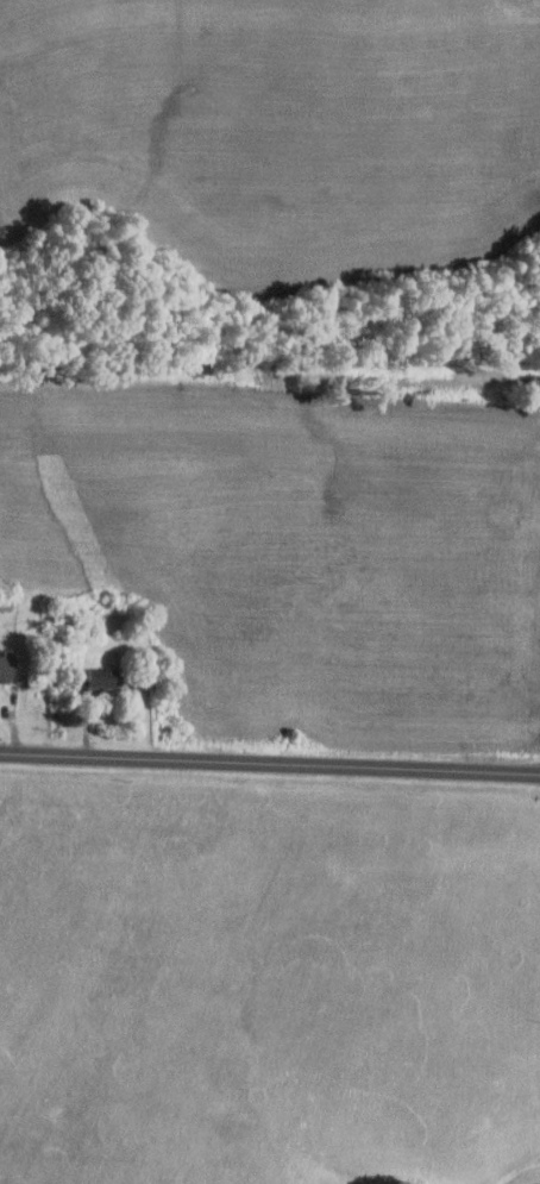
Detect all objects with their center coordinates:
building: (6, 668)
building: (101, 679)
road: (269, 762)

